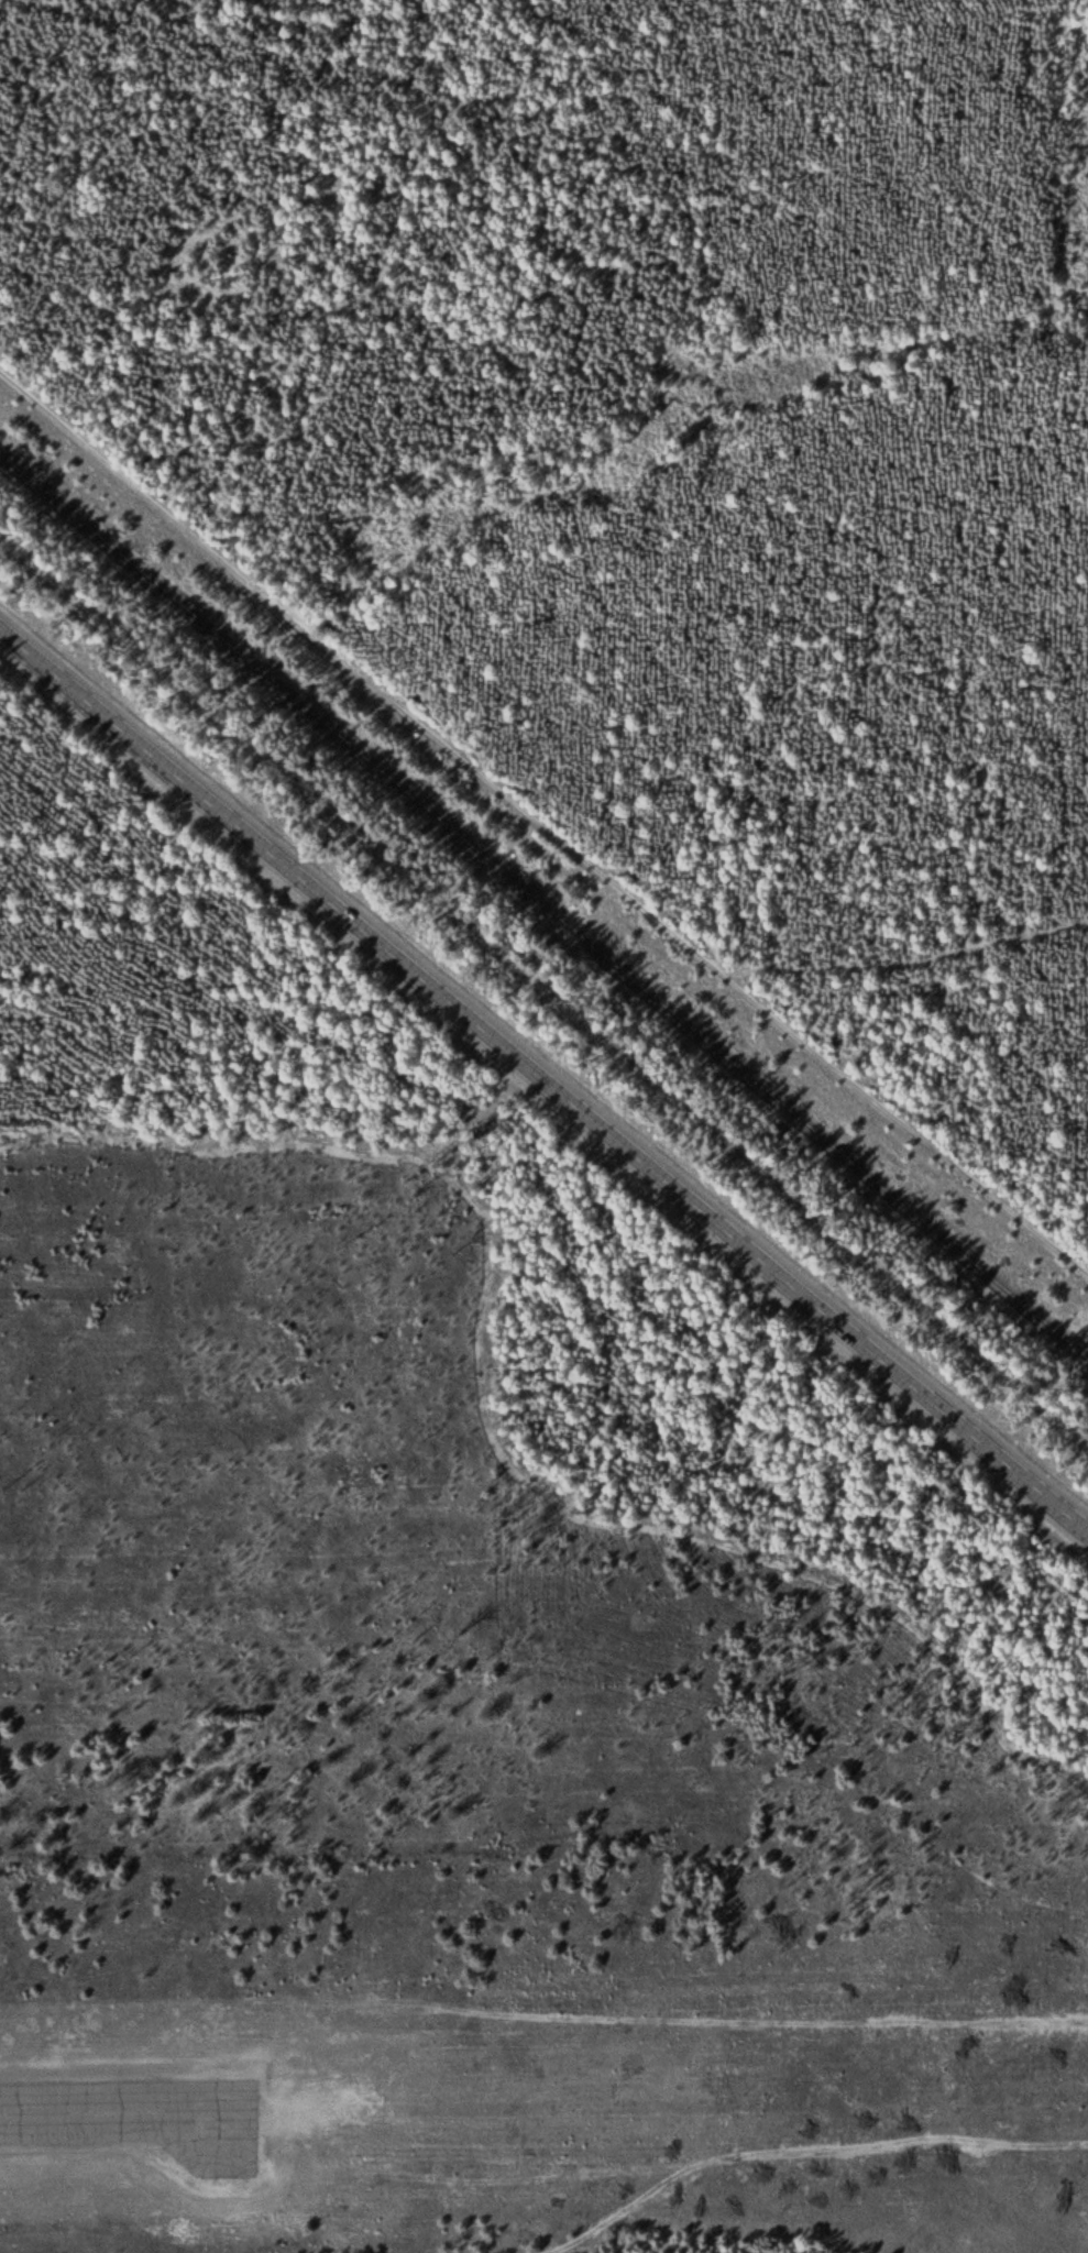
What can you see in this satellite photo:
road: (541, 823)
railway: (539, 932)
road: (906, 959)
road: (543, 1071)
road: (497, 1410)
airport runway: (130, 2108)
road: (789, 2154)
road: (542, 2156)
road: (349, 2251)

